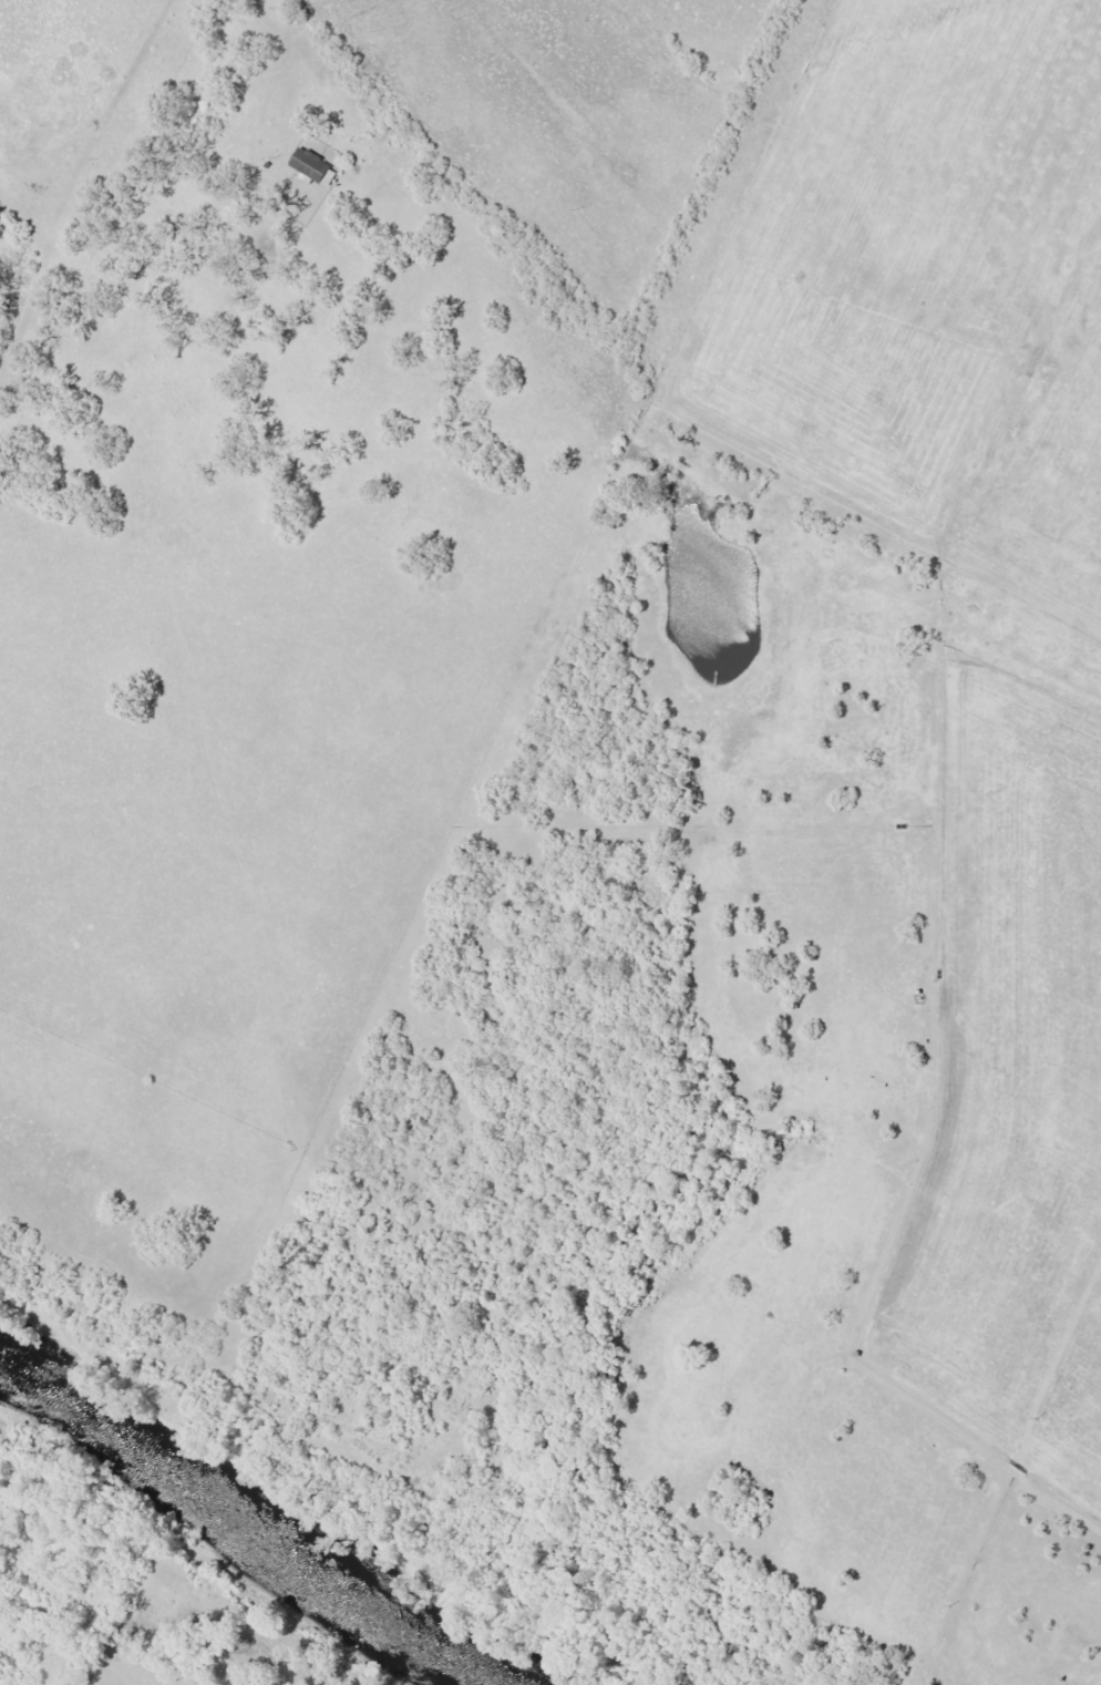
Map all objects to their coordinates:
building: (311, 165)
road: (519, 740)
road: (918, 1023)
road: (979, 1476)
river: (225, 1540)

